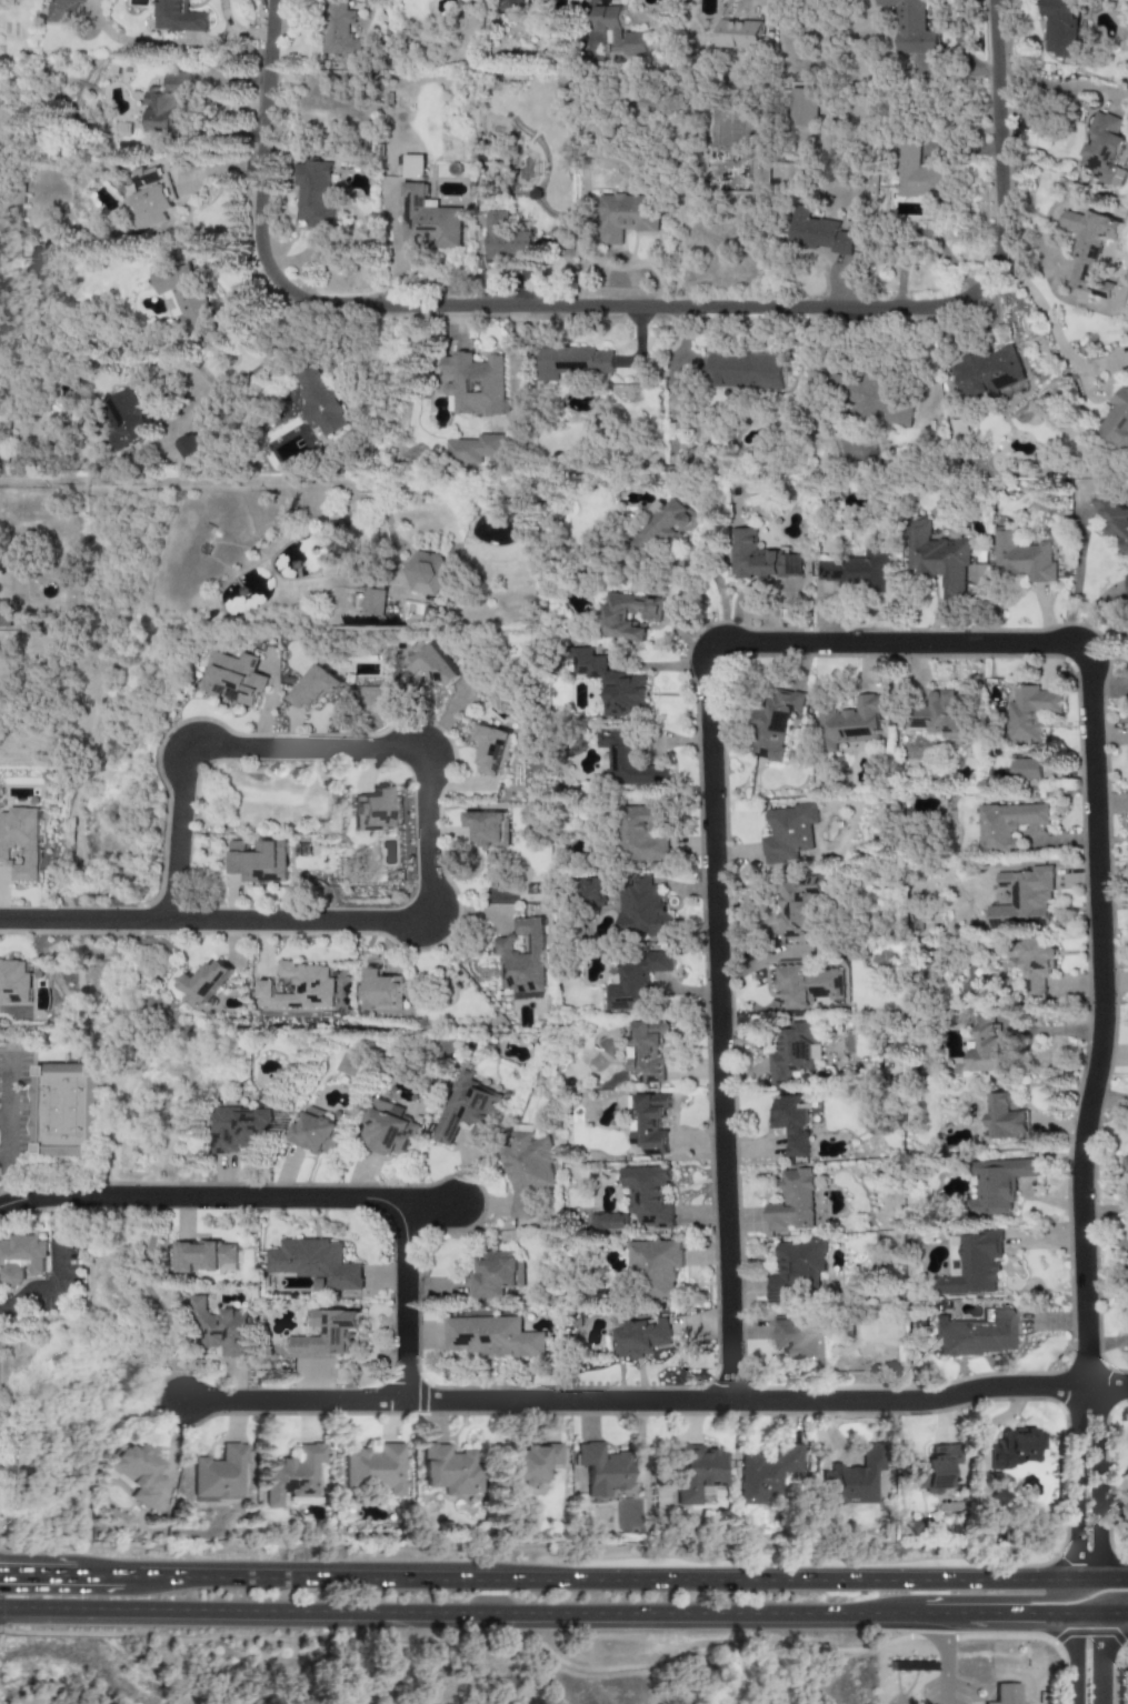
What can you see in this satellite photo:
building: (515, 4)
building: (62, 11)
building: (178, 17)
building: (910, 27)
building: (1060, 27)
building: (338, 30)
building: (618, 32)
building: (739, 34)
building: (647, 103)
building: (167, 104)
building: (802, 107)
building: (1104, 149)
building: (413, 167)
building: (917, 172)
building: (313, 193)
building: (149, 199)
building: (625, 215)
building: (428, 220)
building: (818, 233)
building: (505, 239)
building: (1090, 249)
building: (181, 295)
road: (629, 307)
road: (1052, 332)
building: (572, 362)
road: (252, 369)
building: (745, 371)
building: (987, 372)
building: (475, 384)
road: (1096, 397)
building: (868, 398)
building: (316, 401)
building: (127, 420)
building: (1117, 422)
building: (189, 448)
building: (475, 449)
road: (157, 483)
building: (1114, 520)
building: (663, 527)
building: (759, 558)
building: (937, 558)
building: (1022, 558)
building: (856, 571)
road: (1077, 571)
building: (426, 573)
building: (1127, 579)
road: (720, 593)
building: (373, 601)
building: (4, 613)
building: (628, 615)
building: (432, 664)
building: (234, 678)
building: (611, 684)
building: (316, 686)
building: (1029, 712)
building: (938, 714)
building: (776, 722)
building: (851, 723)
road: (214, 748)
building: (491, 749)
building: (628, 760)
building: (1025, 769)
building: (371, 809)
building: (1007, 824)
building: (488, 828)
building: (641, 834)
building: (788, 834)
road: (709, 838)
building: (20, 843)
building: (259, 862)
building: (530, 892)
building: (592, 892)
building: (1024, 900)
building: (796, 906)
building: (642, 909)
road: (84, 921)
road: (378, 923)
building: (521, 960)
building: (1036, 966)
building: (636, 980)
building: (13, 982)
building: (206, 982)
building: (806, 984)
building: (298, 988)
building: (383, 990)
road: (1099, 1024)
building: (987, 1046)
building: (647, 1051)
building: (793, 1051)
road: (3, 1086)
building: (467, 1109)
building: (1005, 1119)
building: (791, 1121)
building: (243, 1124)
building: (650, 1124)
building: (388, 1130)
building: (315, 1132)
road: (2, 1159)
road: (6, 1160)
building: (1125, 1165)
building: (527, 1171)
building: (996, 1184)
building: (648, 1195)
road: (296, 1196)
building: (792, 1202)
road: (427, 1209)
building: (608, 1222)
building: (201, 1256)
building: (21, 1260)
building: (315, 1264)
building: (970, 1265)
building: (657, 1266)
building: (796, 1270)
road: (56, 1273)
building: (497, 1274)
building: (219, 1329)
building: (977, 1334)
building: (326, 1335)
building: (491, 1337)
building: (642, 1337)
building: (796, 1337)
road: (656, 1401)
road: (990, 1424)
building: (1014, 1447)
building: (531, 1463)
building: (376, 1467)
building: (601, 1469)
building: (935, 1469)
building: (450, 1470)
building: (137, 1472)
building: (697, 1472)
building: (219, 1473)
building: (768, 1473)
building: (292, 1474)
building: (1126, 1475)
building: (852, 1479)
road: (1076, 1481)
road: (1097, 1481)
building: (1126, 1493)
building: (1126, 1507)
road: (37, 1571)
road: (100, 1572)
road: (600, 1575)
road: (1112, 1575)
road: (1086, 1576)
road: (984, 1598)
road: (1095, 1600)
road: (483, 1625)
road: (1021, 1625)
road: (1086, 1626)
road: (1112, 1626)
road: (1088, 1634)
road: (1118, 1653)
road: (556, 1658)
road: (941, 1664)
road: (1076, 1665)
road: (1097, 1665)
building: (1006, 1694)

